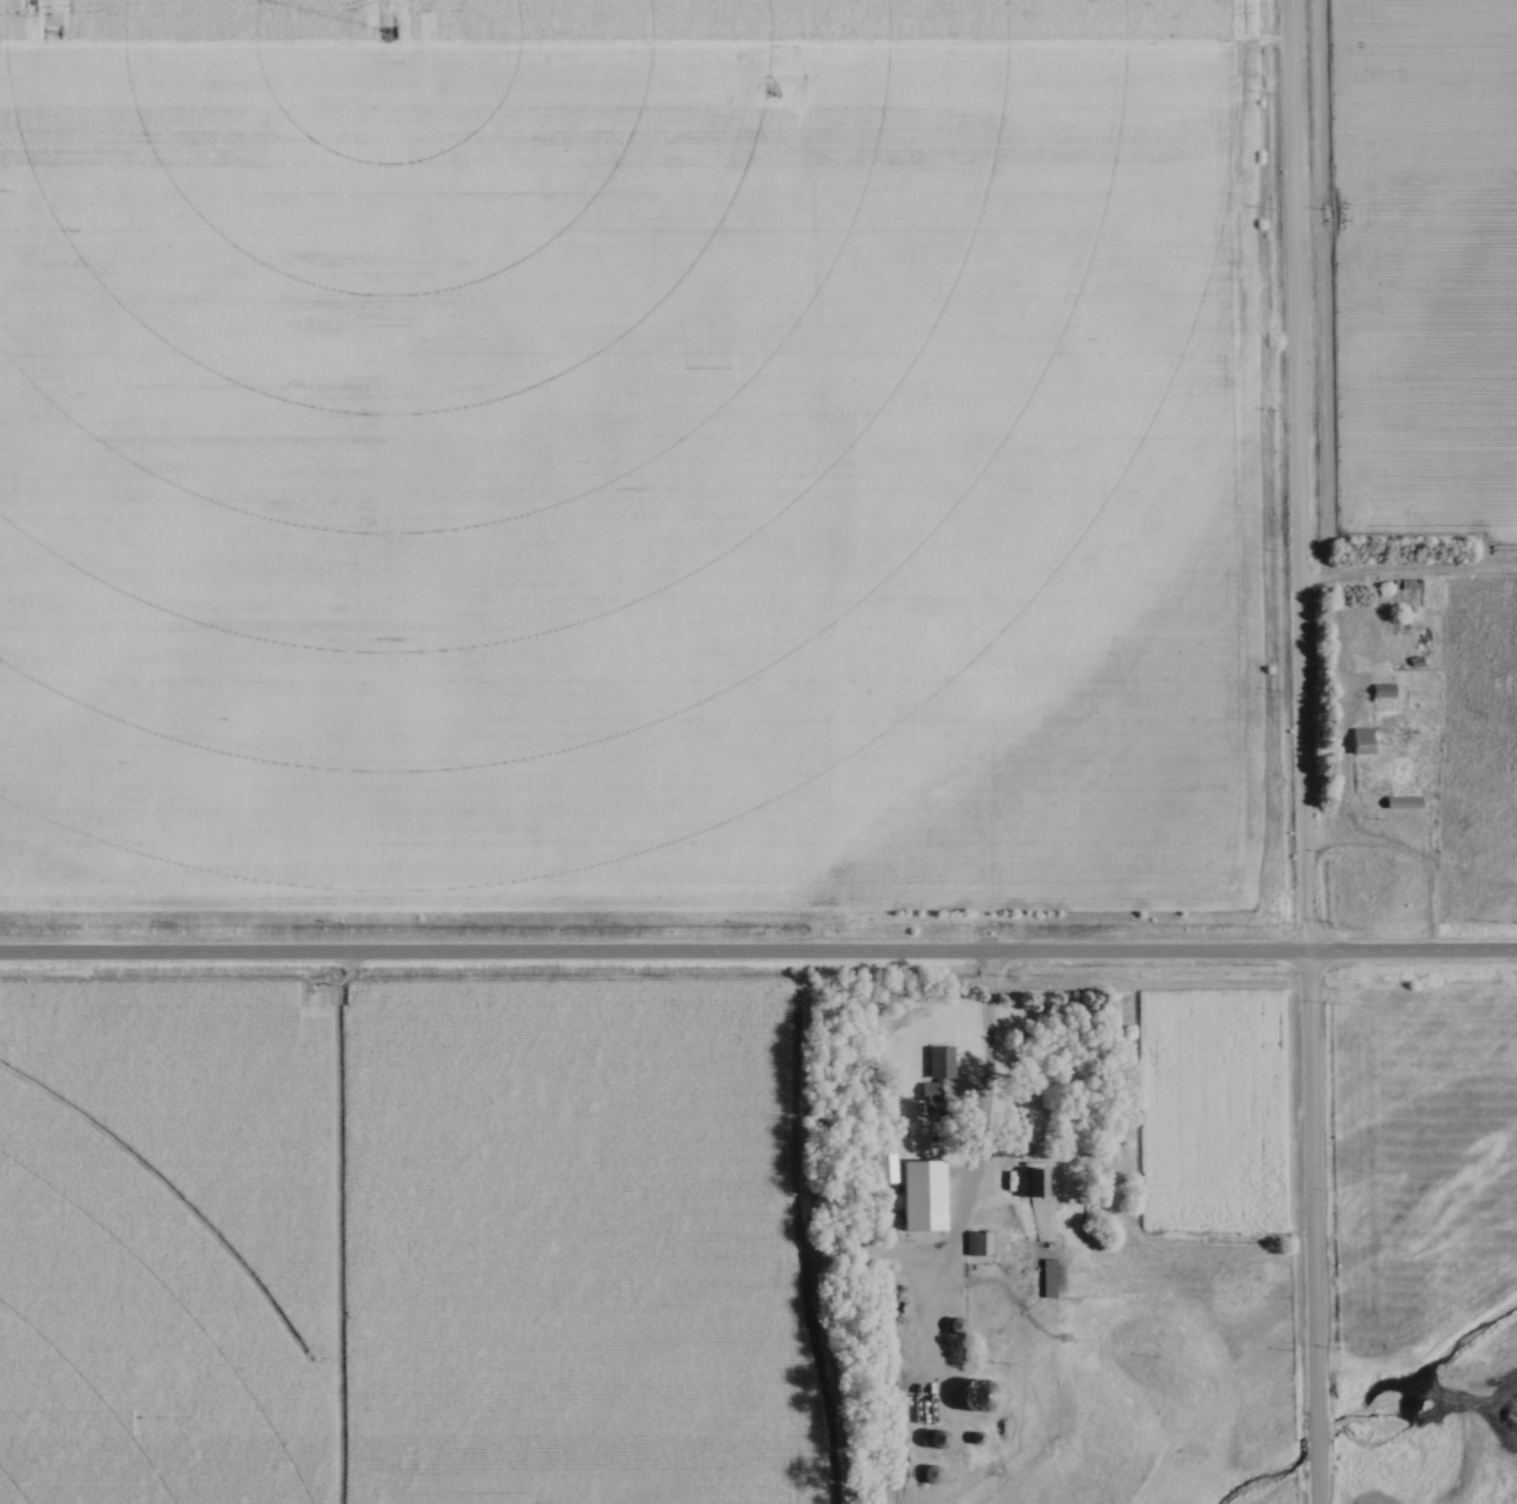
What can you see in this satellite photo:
building: (1380, 689)
building: (1357, 739)
road: (1300, 752)
building: (1400, 801)
road: (1408, 857)
road: (758, 957)
road: (986, 1028)
building: (932, 1070)
building: (1009, 1149)
building: (880, 1167)
building: (1026, 1181)
building: (915, 1194)
building: (977, 1242)
building: (1044, 1277)
building: (950, 1325)
building: (932, 1437)
building: (925, 1473)

